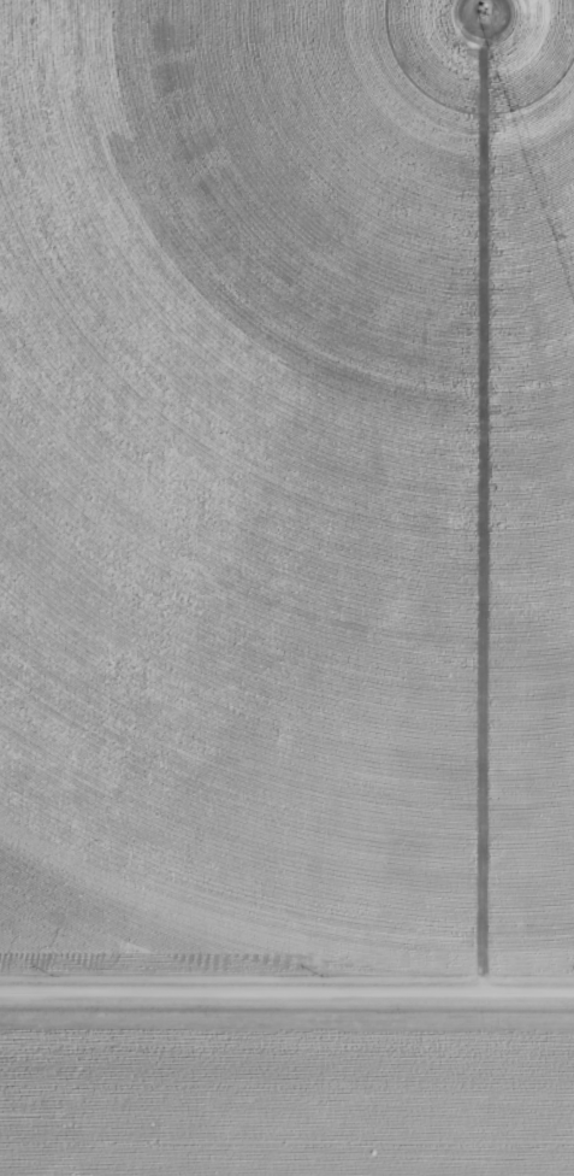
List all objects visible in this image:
road: (286, 964)

